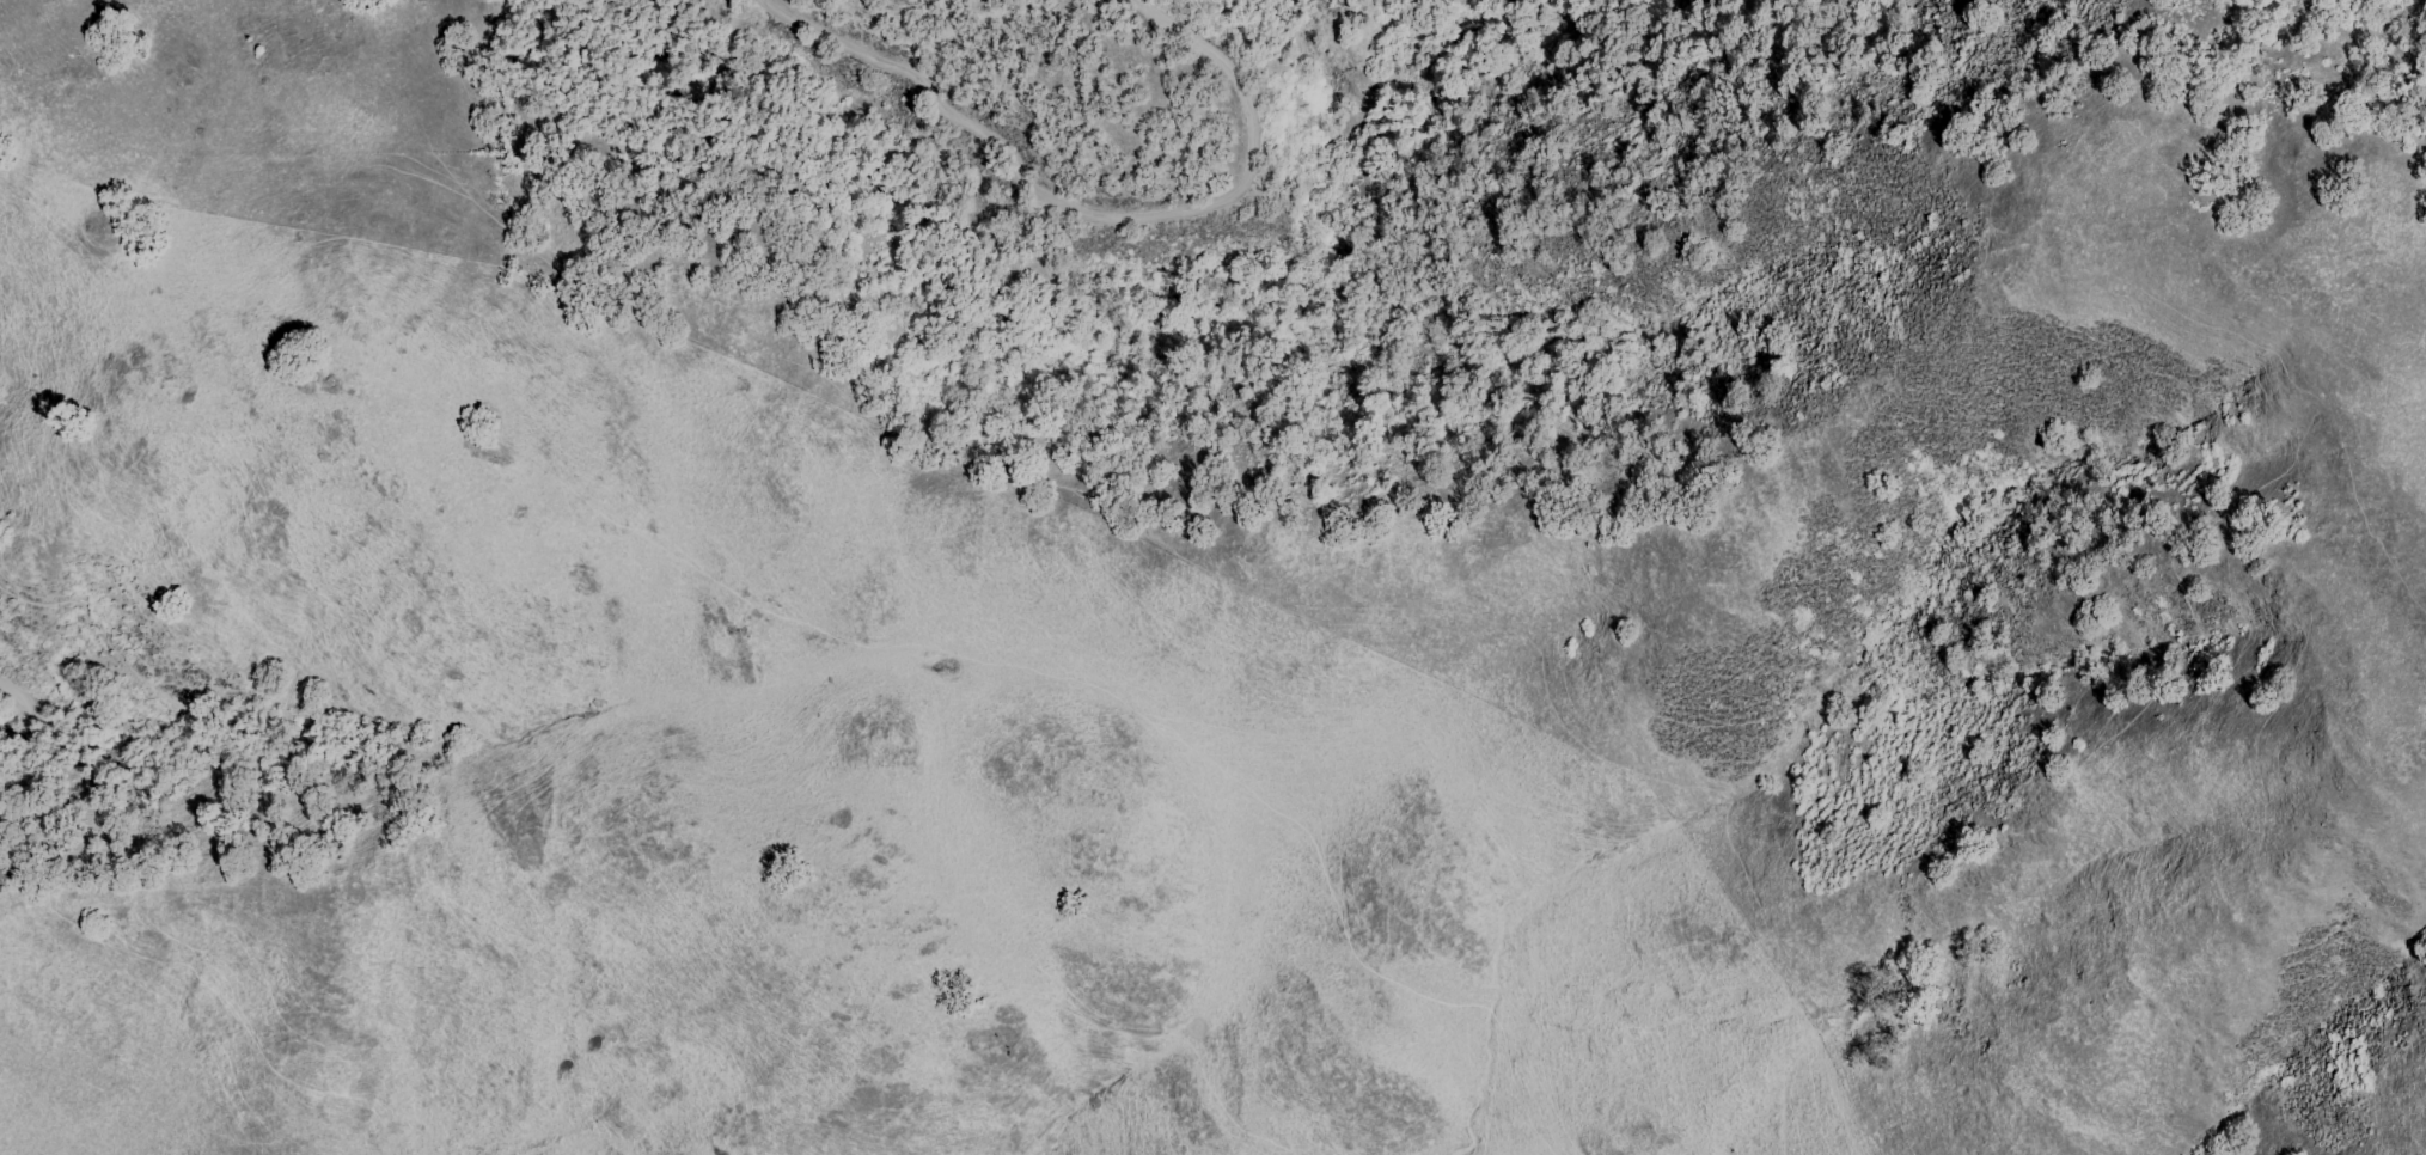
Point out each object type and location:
road: (1095, 207)
road: (26, 698)

